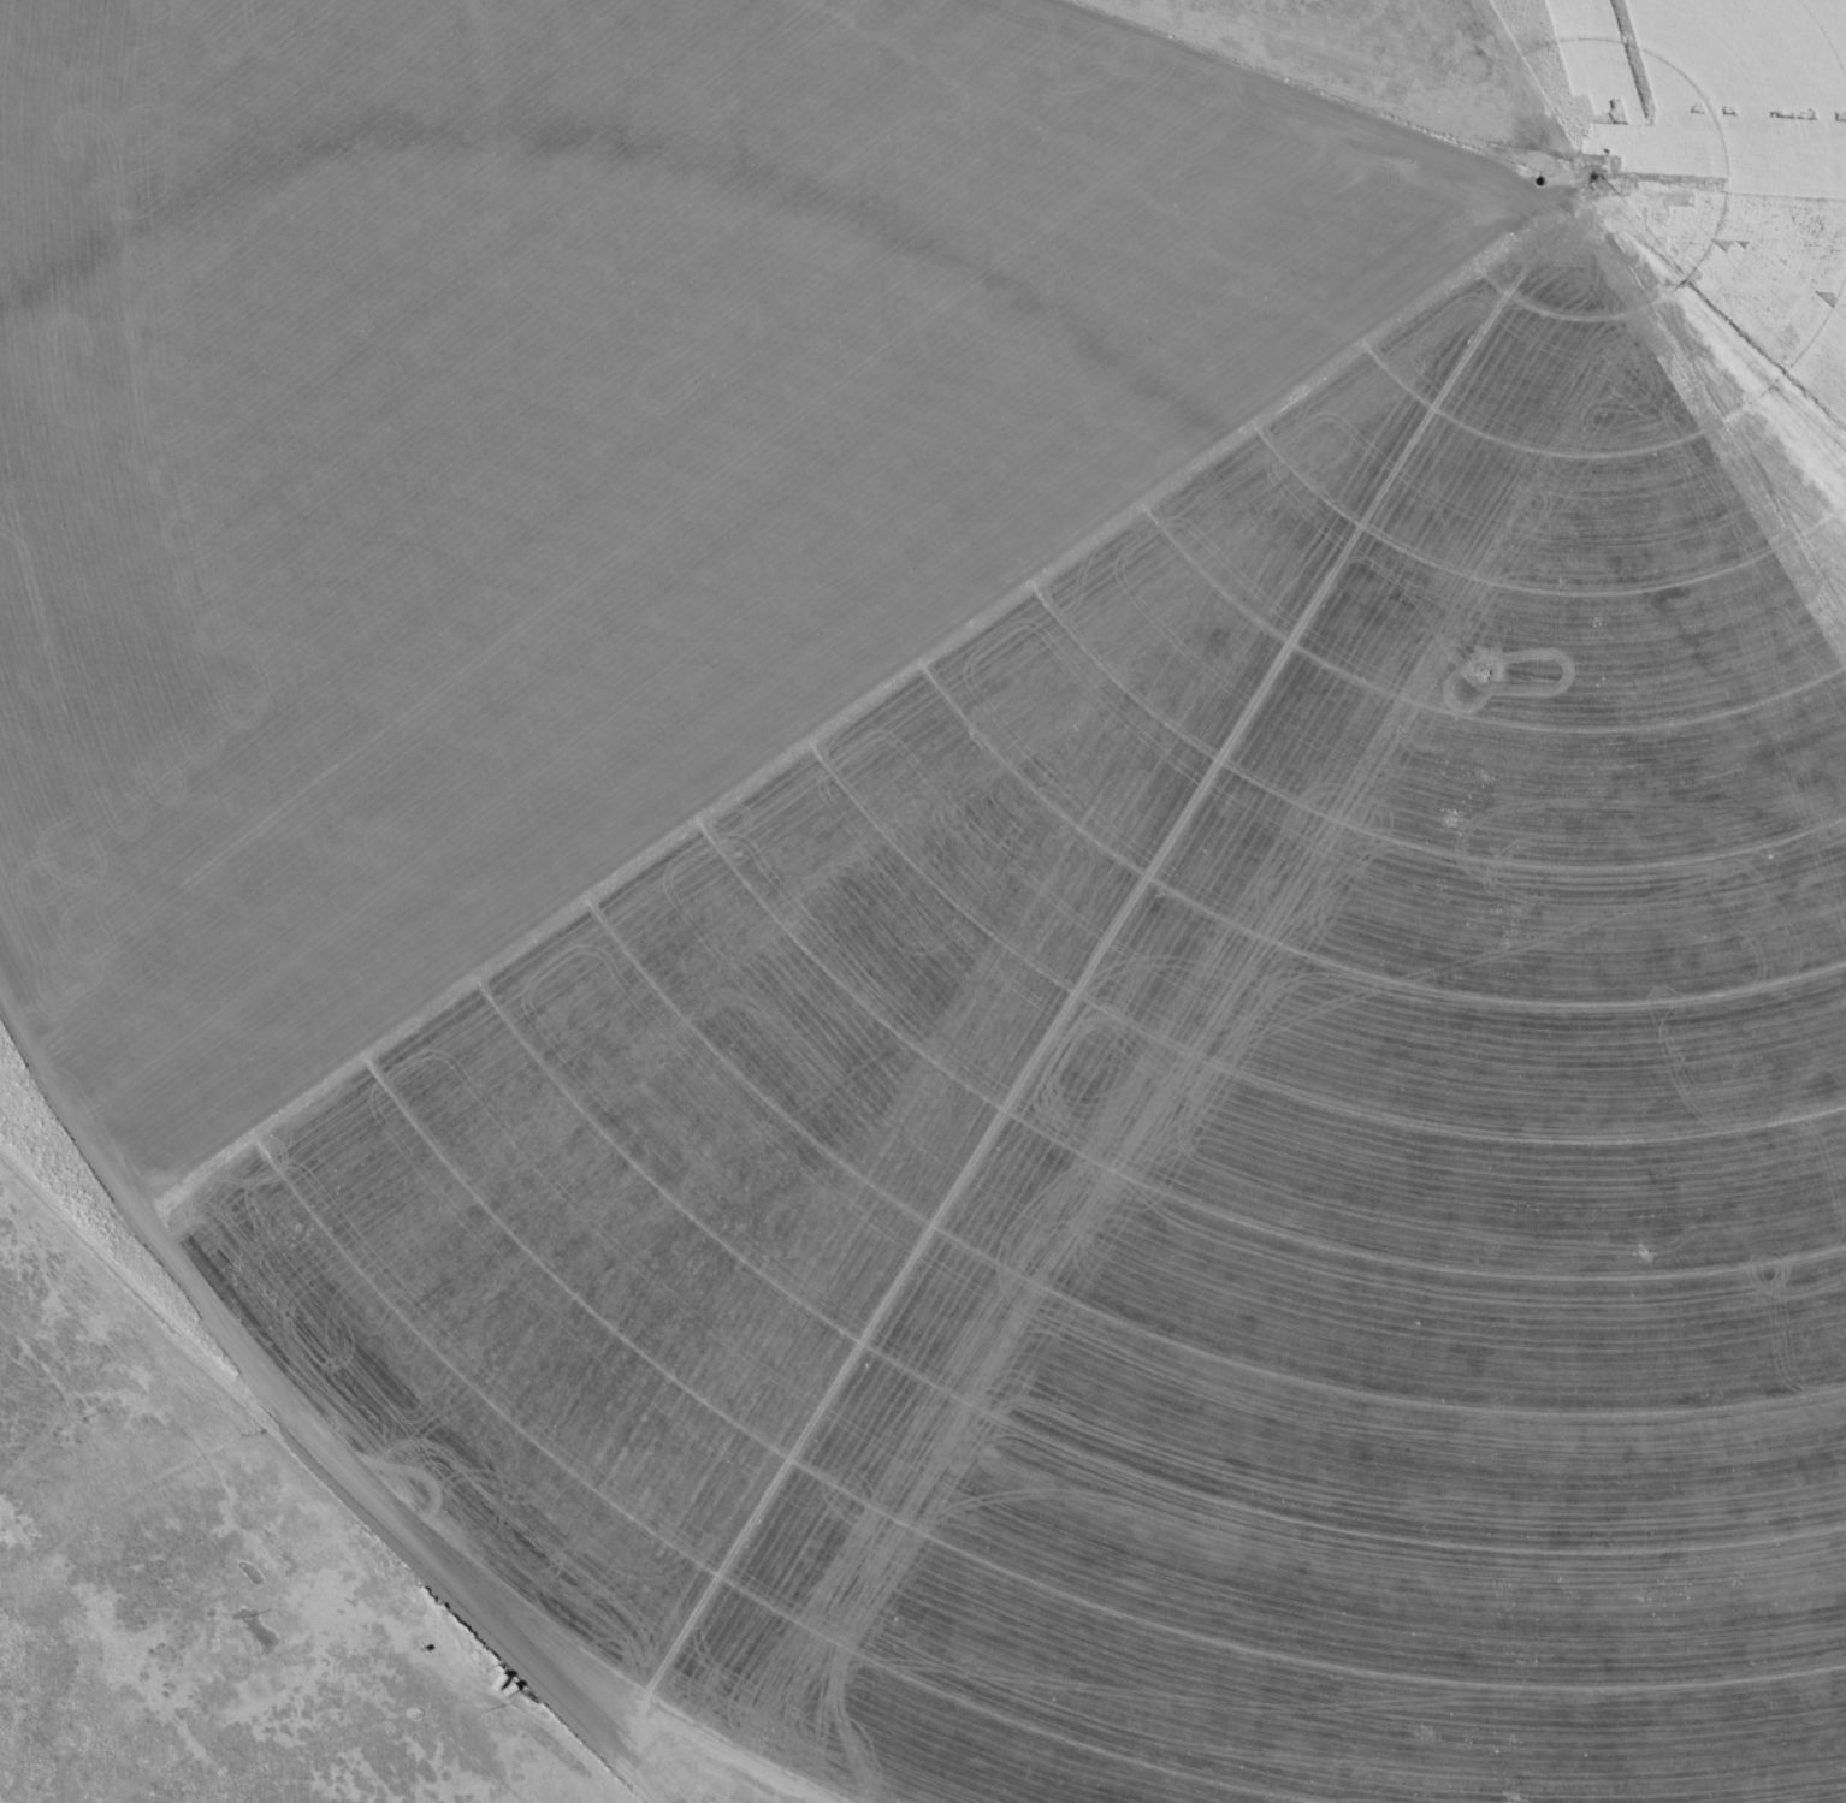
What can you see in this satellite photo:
road: (468, 1651)

